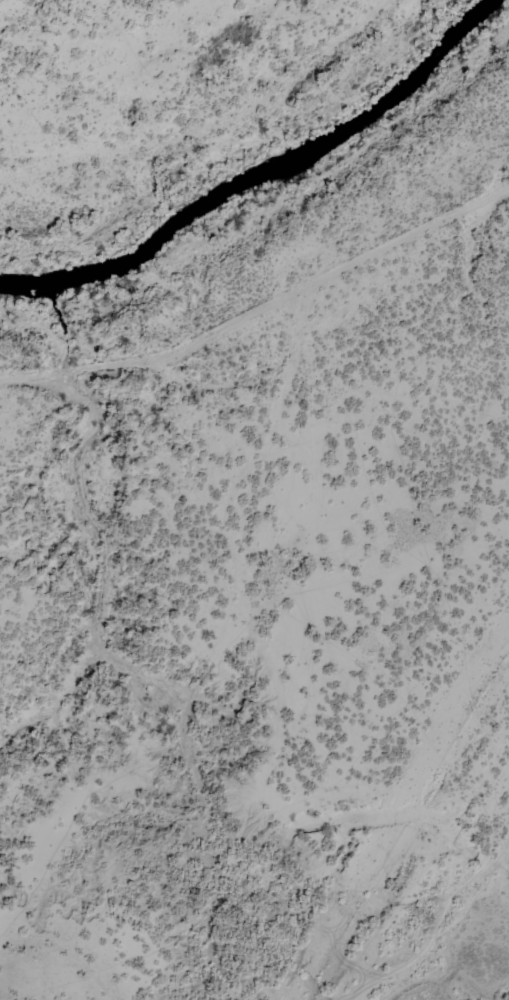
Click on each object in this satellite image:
river: (259, 177)

